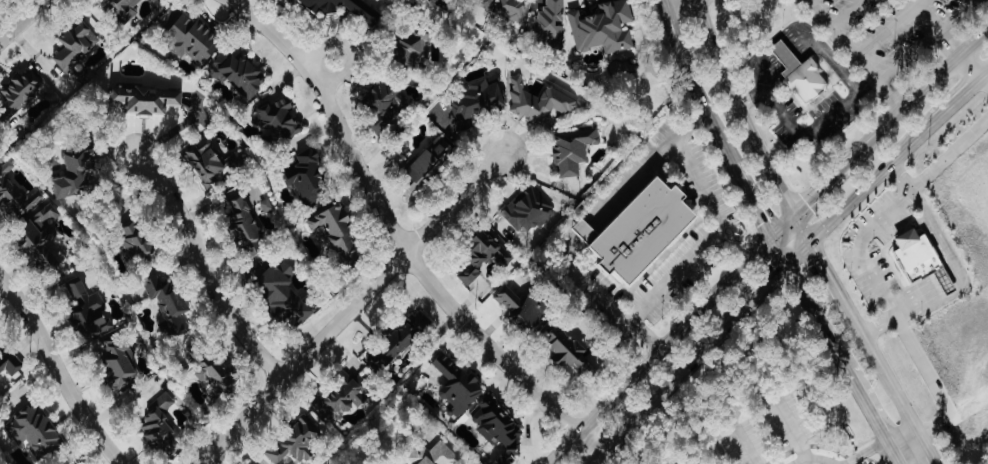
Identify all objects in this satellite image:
road: (662, 2)
road: (669, 2)
road: (810, 2)
building: (124, 9)
building: (509, 9)
building: (365, 11)
road: (850, 15)
road: (25, 23)
building: (551, 23)
building: (604, 28)
road: (830, 28)
road: (808, 35)
building: (196, 40)
road: (926, 42)
road: (947, 42)
road: (869, 46)
building: (77, 47)
building: (416, 48)
road: (348, 50)
building: (242, 73)
building: (802, 74)
road: (984, 76)
road: (984, 84)
road: (693, 88)
road: (919, 90)
building: (24, 91)
road: (751, 96)
road: (888, 96)
building: (148, 100)
road: (957, 100)
building: (478, 103)
building: (540, 103)
building: (389, 104)
road: (742, 108)
building: (282, 120)
road: (807, 134)
building: (574, 149)
road: (950, 155)
building: (432, 160)
building: (211, 162)
road: (649, 169)
building: (76, 174)
road: (899, 176)
building: (311, 179)
road: (871, 179)
road: (824, 183)
building: (13, 192)
road: (748, 204)
building: (268, 206)
building: (529, 211)
traffic signals: (795, 213)
road: (802, 227)
building: (248, 230)
building: (339, 232)
building: (647, 232)
road: (585, 233)
road: (940, 236)
building: (47, 238)
road: (395, 239)
traffic signals: (766, 239)
traffic signals: (810, 241)
building: (140, 245)
road: (861, 246)
road: (570, 248)
road: (694, 252)
road: (774, 253)
road: (796, 254)
building: (484, 258)
building: (924, 260)
traffic signals: (782, 267)
road: (204, 271)
road: (768, 281)
road: (832, 282)
road: (946, 284)
road: (598, 289)
building: (287, 296)
road: (941, 299)
road: (916, 302)
building: (171, 305)
road: (350, 307)
building: (525, 309)
building: (90, 311)
road: (813, 320)
road: (685, 322)
road: (879, 325)
building: (571, 352)
building: (122, 364)
building: (10, 366)
building: (213, 371)
road: (57, 372)
road: (677, 376)
road: (889, 381)
road: (933, 382)
road: (768, 395)
building: (347, 398)
road: (868, 414)
building: (161, 425)
building: (500, 428)
building: (36, 430)
building: (300, 441)
road: (907, 447)
road: (562, 448)
road: (872, 450)
road: (930, 451)
building: (442, 455)
road: (595, 459)
road: (852, 460)
road: (894, 460)
road: (804, 461)

